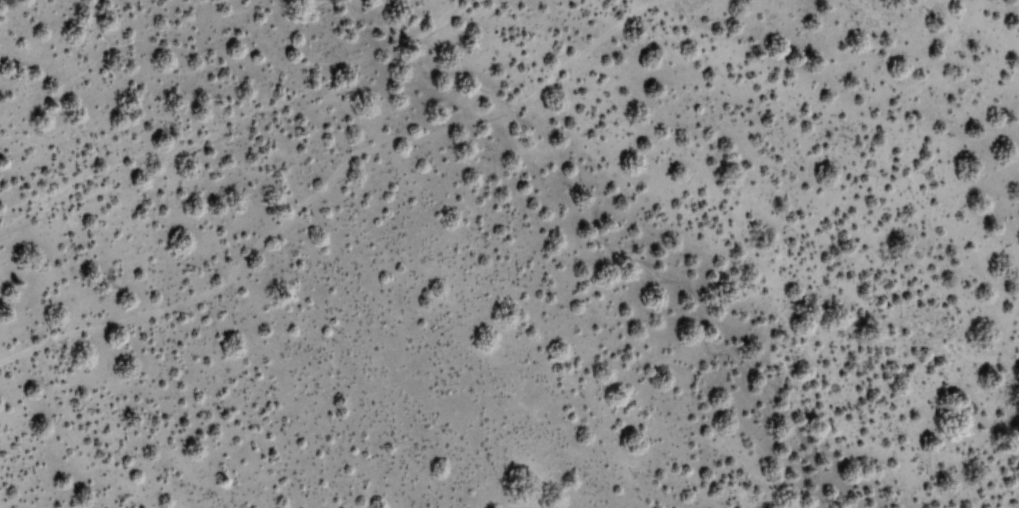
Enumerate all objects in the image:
road: (381, 213)

